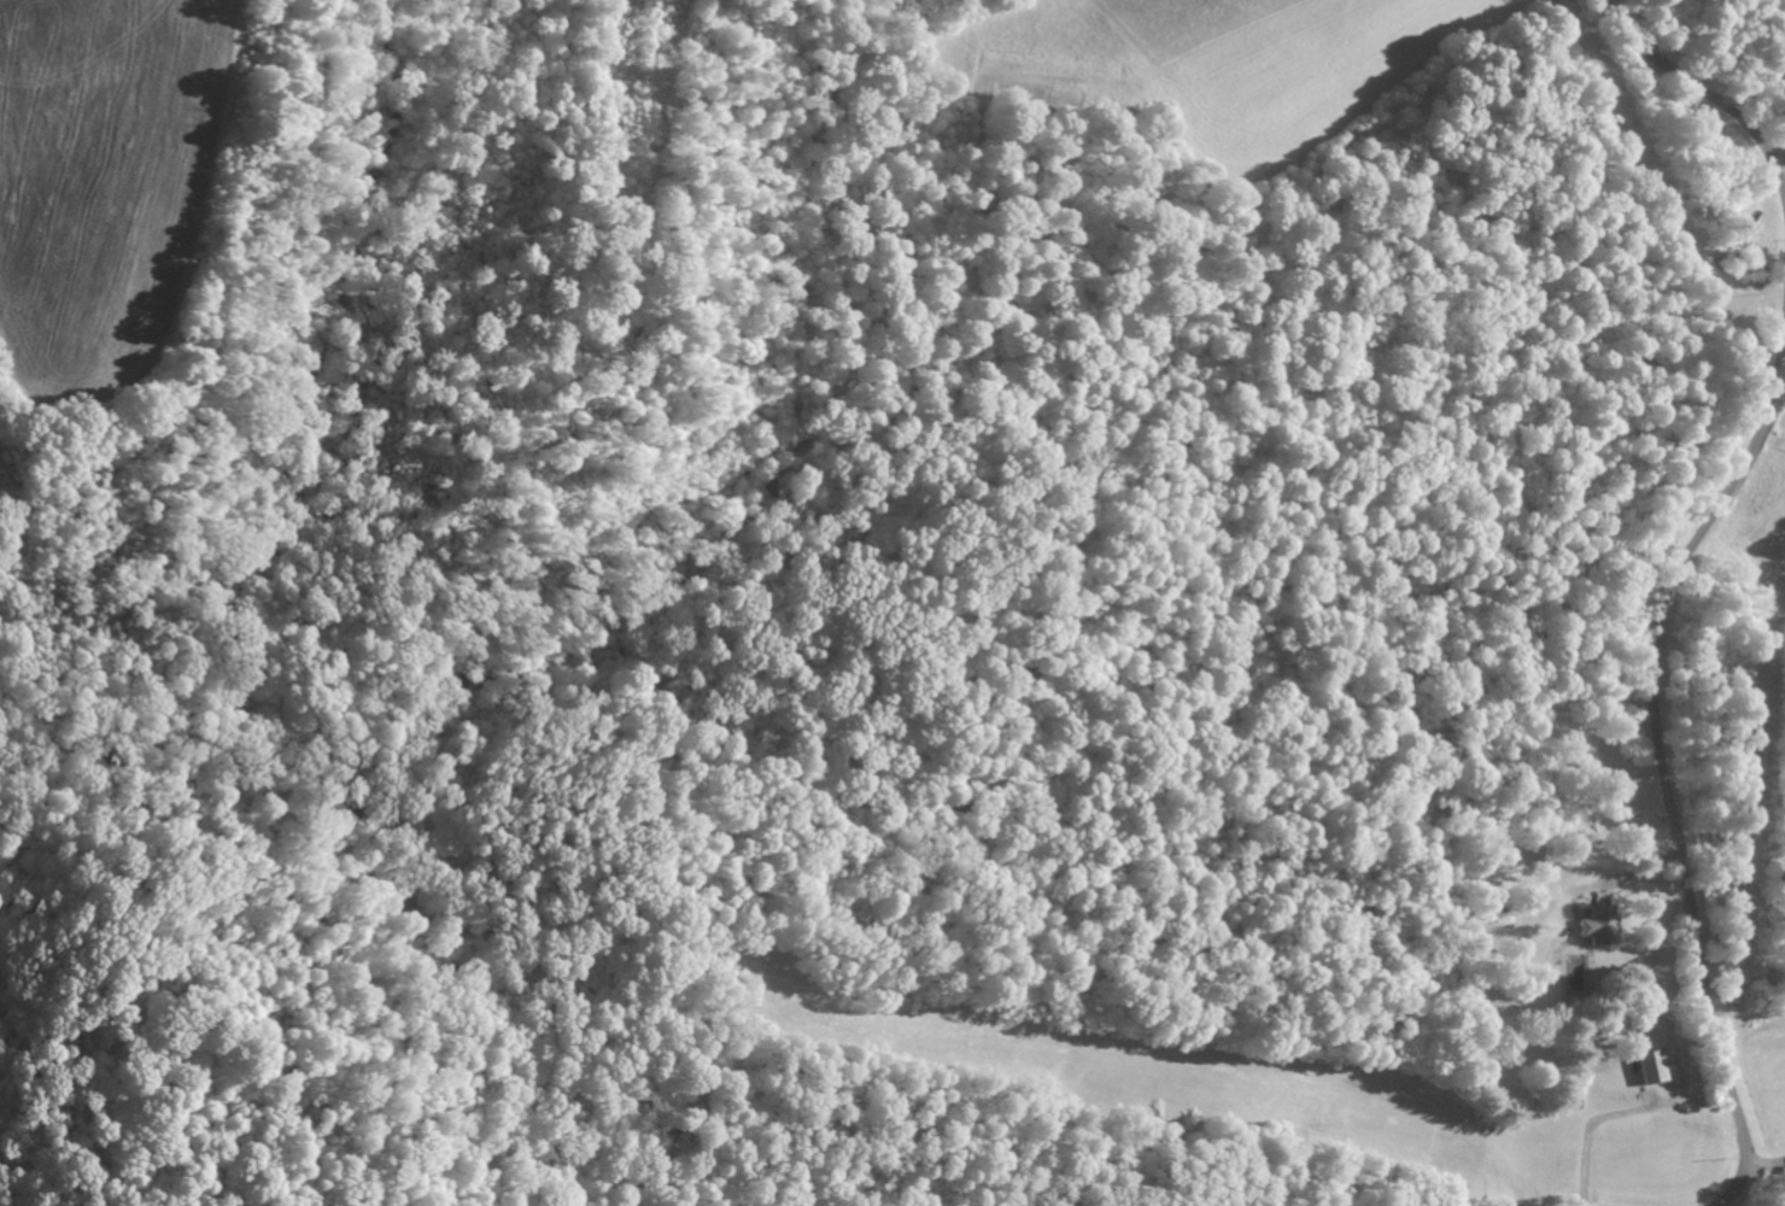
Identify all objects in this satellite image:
road: (1704, 96)
road: (1658, 750)
building: (1597, 925)
building: (1651, 1067)
road: (1585, 1129)
road: (1764, 1165)

